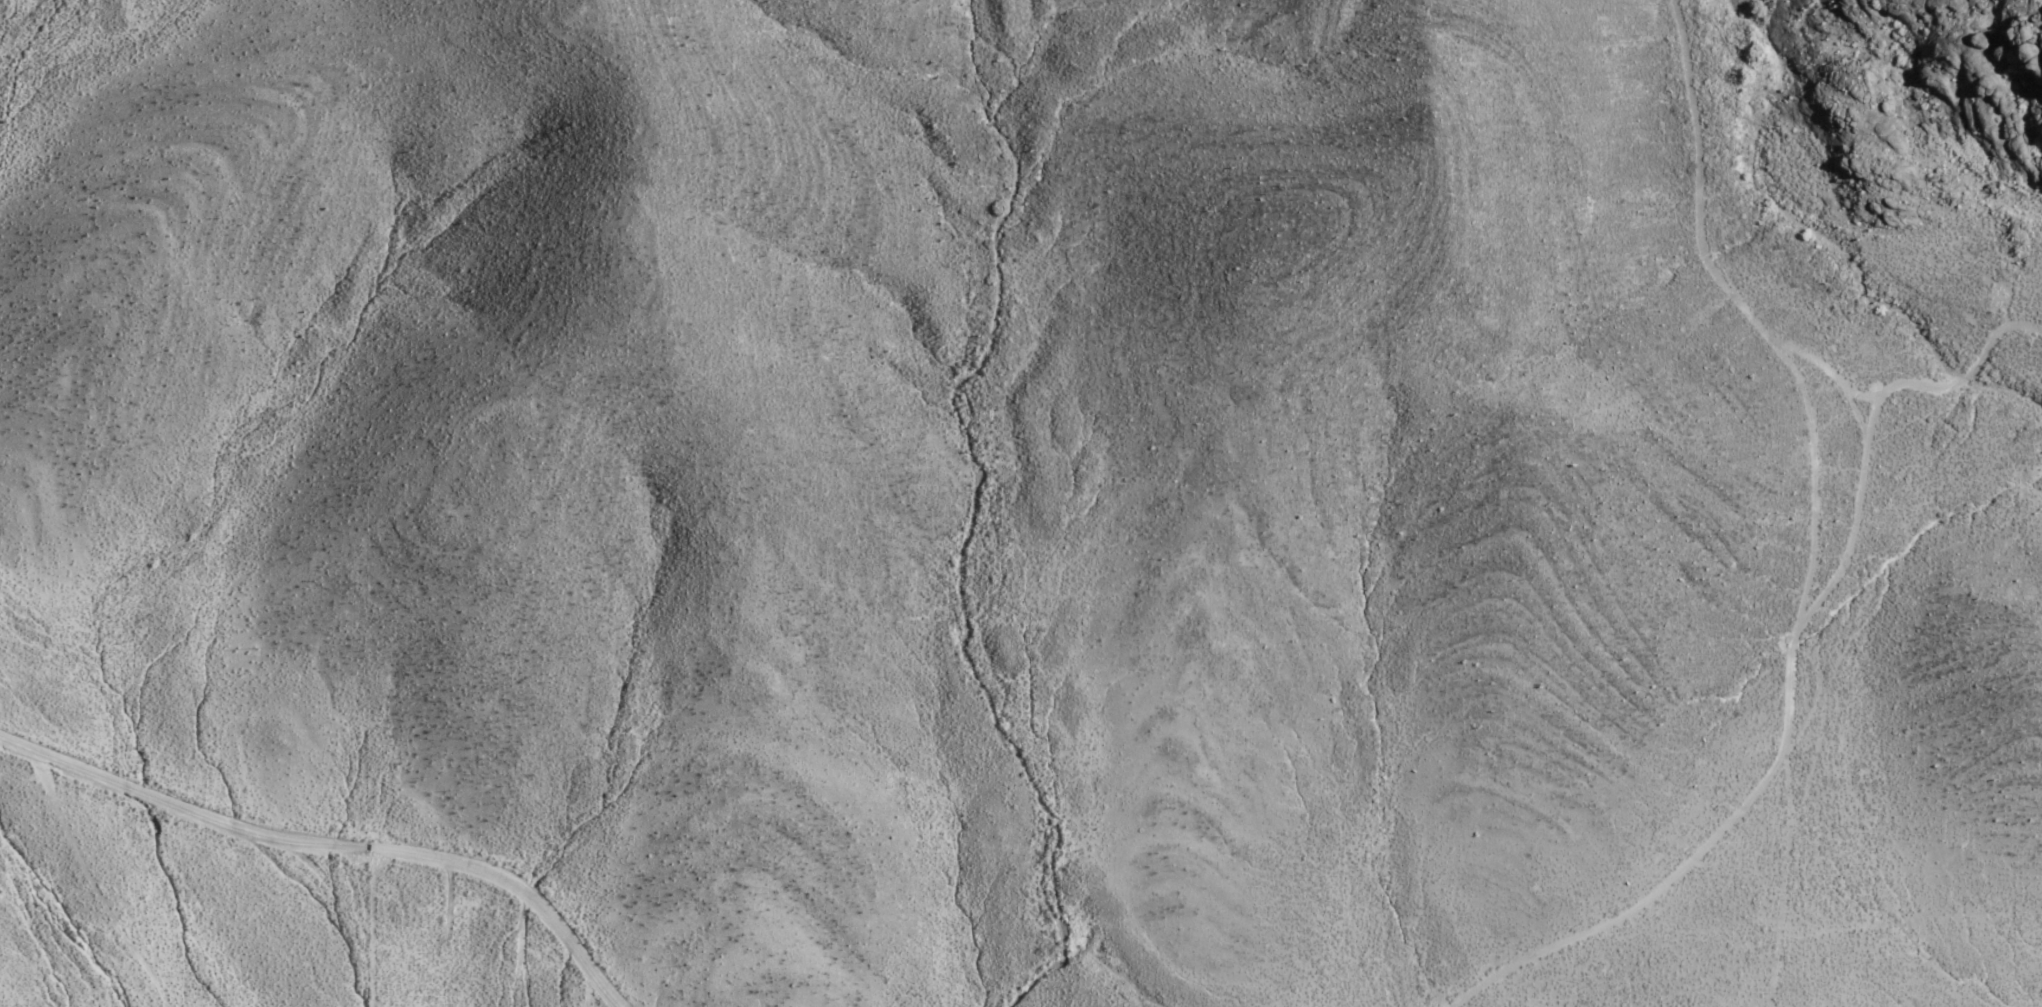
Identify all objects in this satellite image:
road: (1917, 389)
road: (1812, 576)
road: (329, 846)

